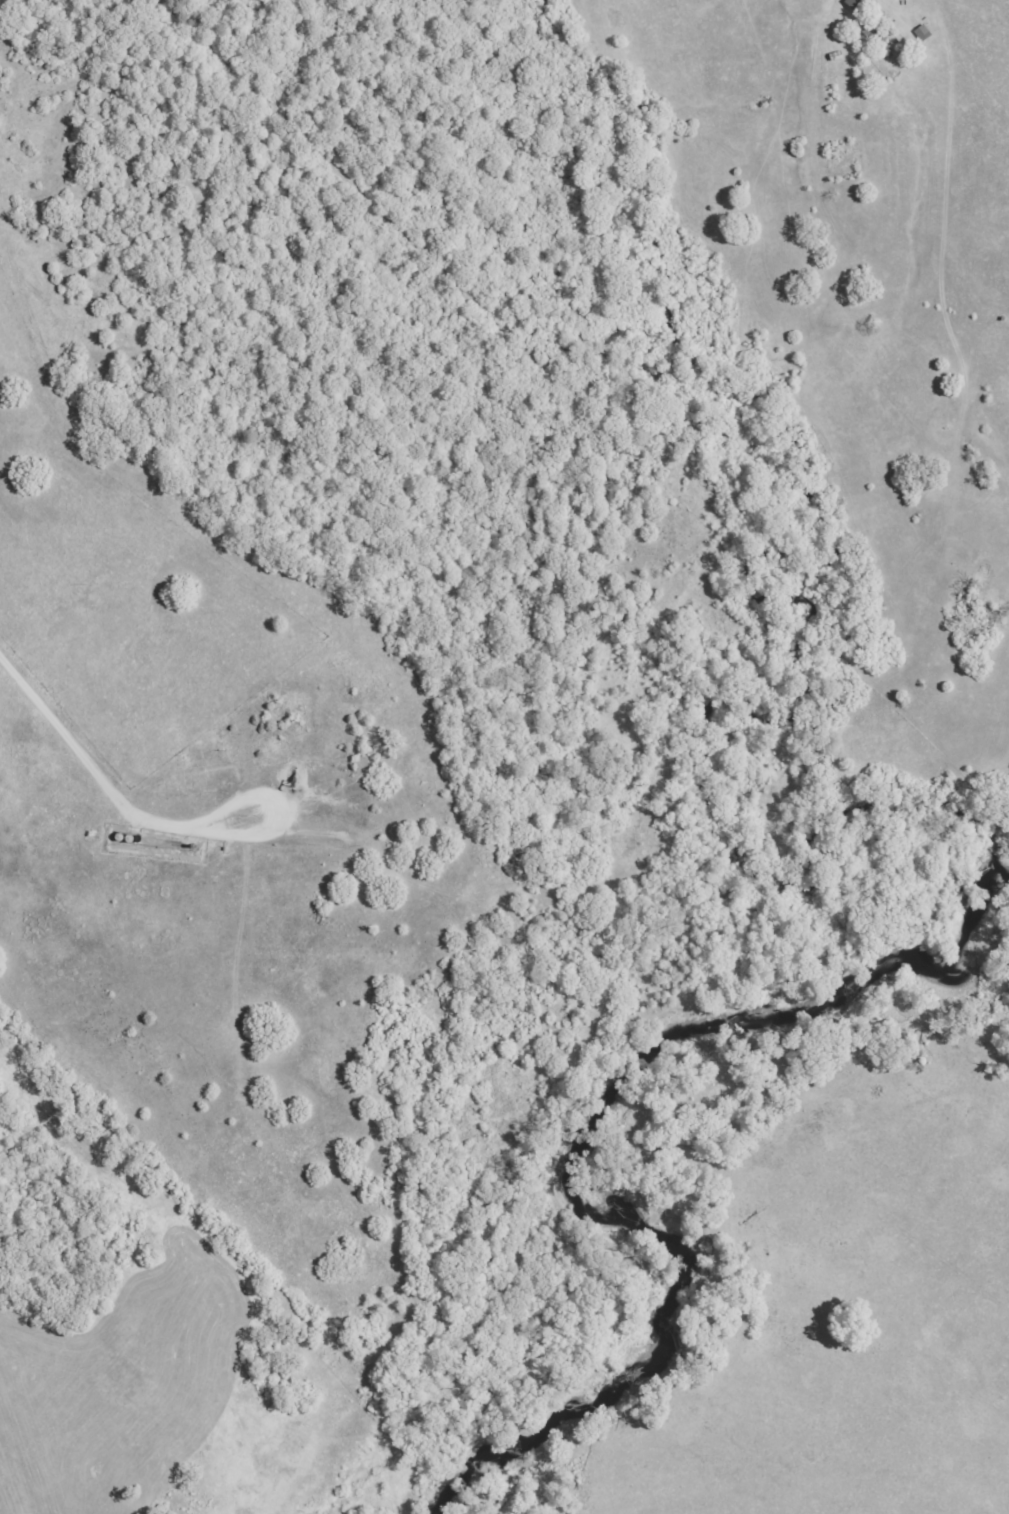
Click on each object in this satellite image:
building: (860, 5)
petroleum well: (290, 781)

